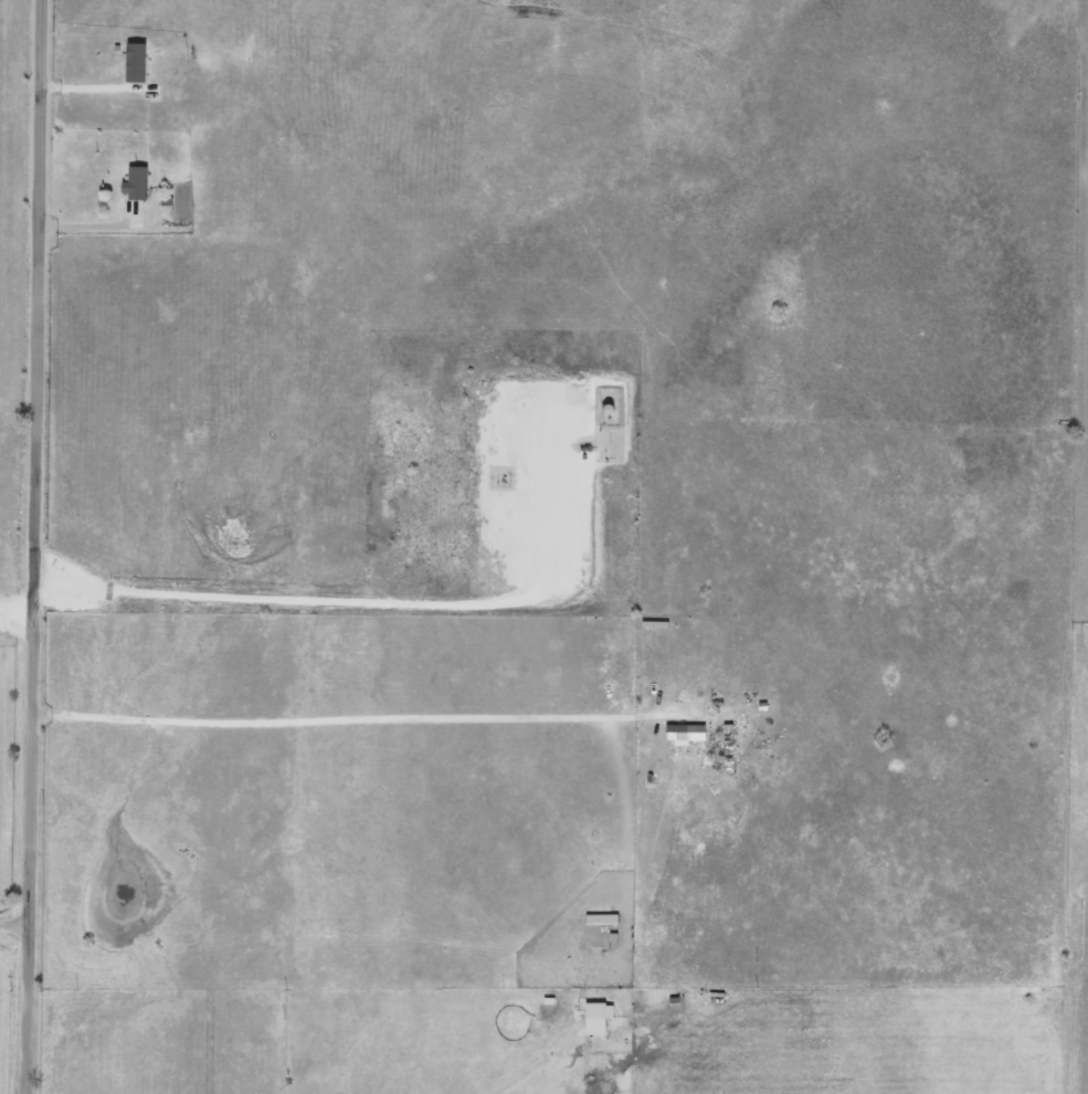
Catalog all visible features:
building: (133, 185)
road: (38, 547)
road: (325, 714)
building: (679, 735)
building: (717, 749)
building: (598, 921)
road: (14, 929)
building: (592, 1020)
road: (526, 1066)

